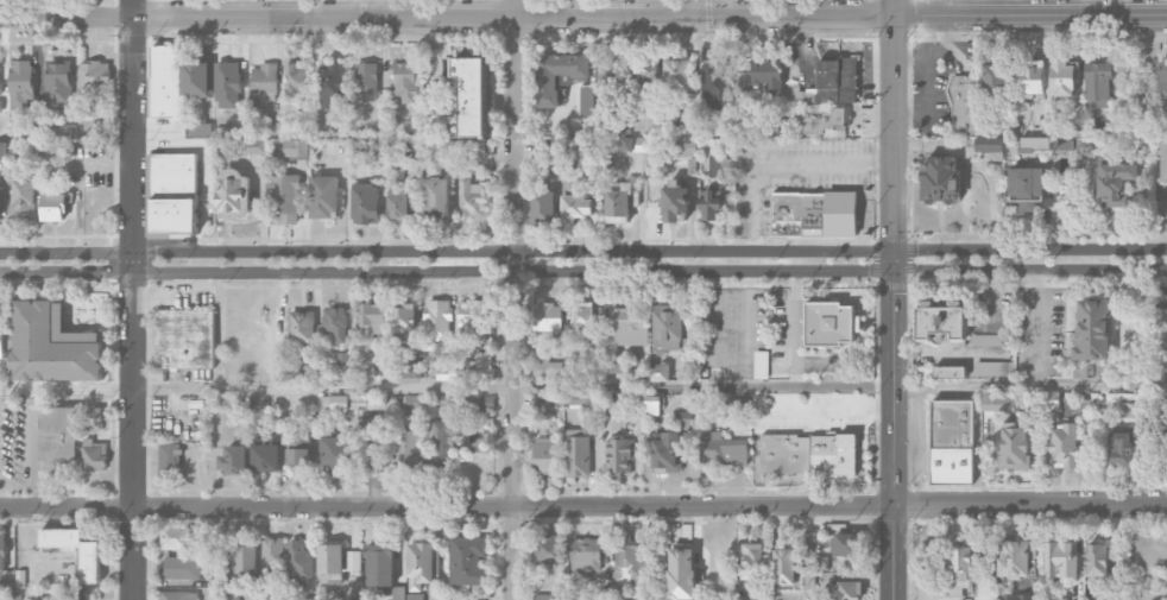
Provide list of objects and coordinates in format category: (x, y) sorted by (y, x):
road: (95, 8)
road: (64, 17)
road: (649, 17)
building: (608, 72)
building: (557, 75)
building: (643, 75)
building: (768, 75)
building: (94, 76)
building: (677, 76)
building: (264, 77)
building: (196, 78)
building: (296, 78)
building: (1062, 78)
building: (1162, 78)
building: (995, 80)
building: (366, 81)
building: (1032, 81)
building: (404, 82)
building: (831, 83)
building: (166, 84)
building: (227, 84)
building: (1098, 84)
building: (58, 86)
building: (332, 86)
building: (714, 86)
building: (21, 87)
building: (0, 93)
building: (472, 95)
building: (963, 103)
building: (825, 120)
building: (272, 125)
building: (455, 127)
building: (774, 127)
building: (198, 130)
building: (629, 144)
building: (989, 145)
building: (253, 146)
building: (296, 147)
building: (4, 150)
building: (574, 151)
road: (208, 159)
road: (784, 162)
building: (1163, 162)
building: (172, 170)
building: (940, 179)
building: (1114, 181)
building: (1026, 187)
building: (233, 194)
building: (473, 196)
building: (323, 197)
building: (436, 197)
building: (283, 198)
building: (23, 200)
building: (674, 201)
building: (366, 203)
building: (618, 204)
building: (709, 204)
building: (55, 207)
building: (543, 207)
building: (399, 208)
building: (576, 209)
building: (814, 214)
building: (172, 215)
road: (1166, 230)
traffic signals: (896, 232)
road: (582, 250)
traffic signals: (917, 250)
traffic signals: (868, 269)
road: (583, 270)
traffic signals: (896, 293)
road: (131, 299)
road: (513, 299)
road: (895, 299)
building: (548, 317)
building: (405, 318)
building: (582, 320)
building: (371, 321)
building: (941, 321)
building: (436, 322)
building: (334, 323)
building: (473, 323)
building: (829, 323)
building: (301, 326)
building: (629, 326)
building: (669, 327)
road: (728, 327)
road: (755, 327)
road: (795, 327)
building: (1159, 329)
building: (1092, 330)
building: (184, 339)
building: (986, 340)
building: (2, 341)
building: (52, 346)
building: (762, 365)
building: (479, 367)
building: (410, 368)
building: (545, 368)
building: (992, 368)
building: (658, 372)
building: (948, 372)
building: (447, 373)
road: (839, 384)
road: (65, 387)
road: (322, 387)
building: (549, 400)
building: (580, 400)
building: (351, 402)
building: (412, 402)
building: (474, 403)
building: (998, 403)
building: (1166, 403)
building: (612, 404)
building: (654, 404)
building: (736, 408)
building: (57, 438)
building: (442, 441)
building: (952, 442)
building: (1064, 446)
building: (1121, 446)
building: (1014, 447)
road: (31, 448)
building: (406, 448)
building: (723, 450)
building: (266, 451)
building: (298, 451)
building: (336, 453)
building: (667, 454)
building: (808, 454)
building: (94, 455)
building: (544, 455)
building: (578, 456)
building: (619, 456)
building: (233, 460)
building: (169, 461)
road: (2, 501)
road: (582, 505)
building: (175, 538)
building: (846, 543)
building: (549, 549)
building: (587, 554)
building: (244, 555)
building: (272, 556)
building: (1014, 558)
building: (467, 560)
building: (1060, 560)
building: (352, 561)
building: (625, 561)
building: (751, 561)
building: (1097, 561)
building: (297, 563)
building: (330, 564)
building: (421, 564)
building: (90, 566)
building: (379, 566)
building: (784, 567)
building: (181, 568)
building: (963, 568)
building: (812, 570)
building: (681, 571)
building: (232, 589)
building: (845, 590)
building: (397, 593)
building: (77, 594)
building: (178, 595)
building: (415, 596)
building: (548, 596)
building: (1015, 596)
building: (477, 599)
building: (1054, 599)

